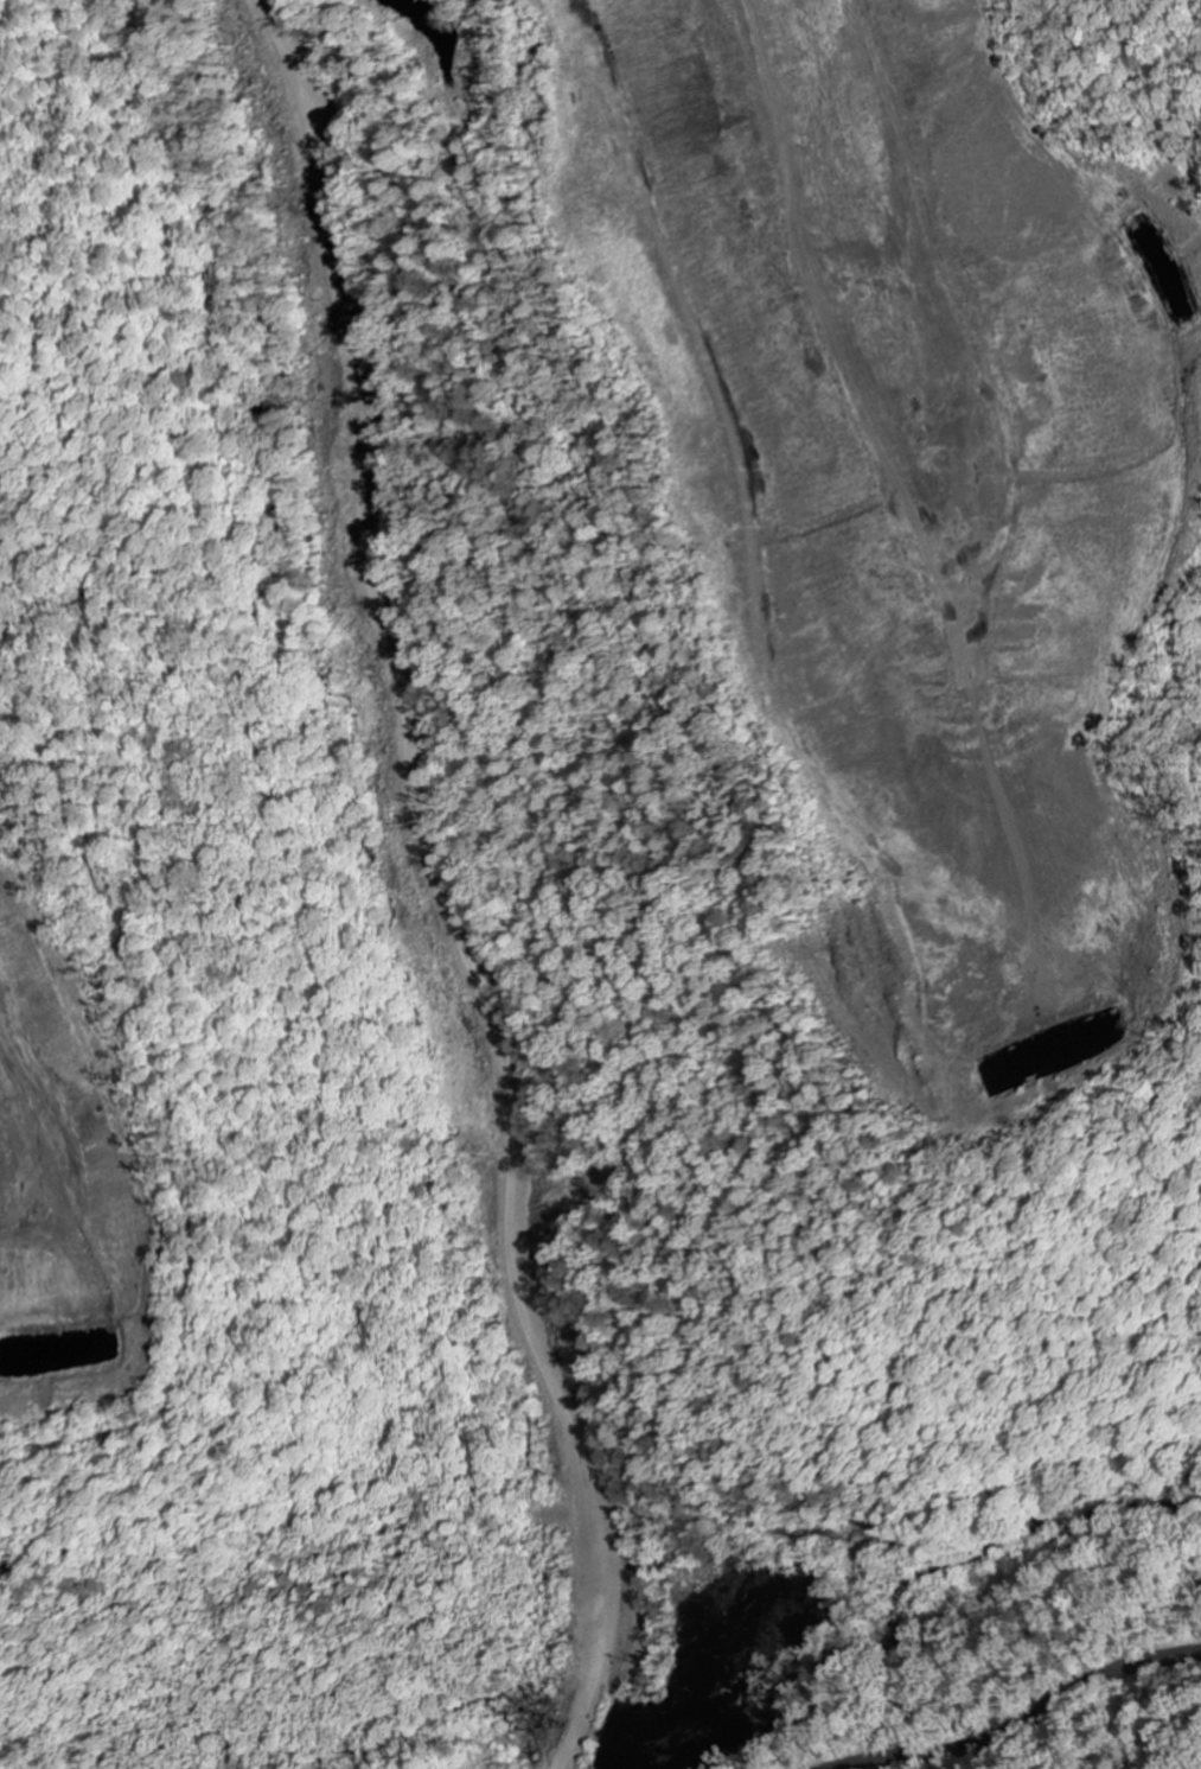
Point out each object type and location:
road: (435, 886)
road: (1010, 1726)

